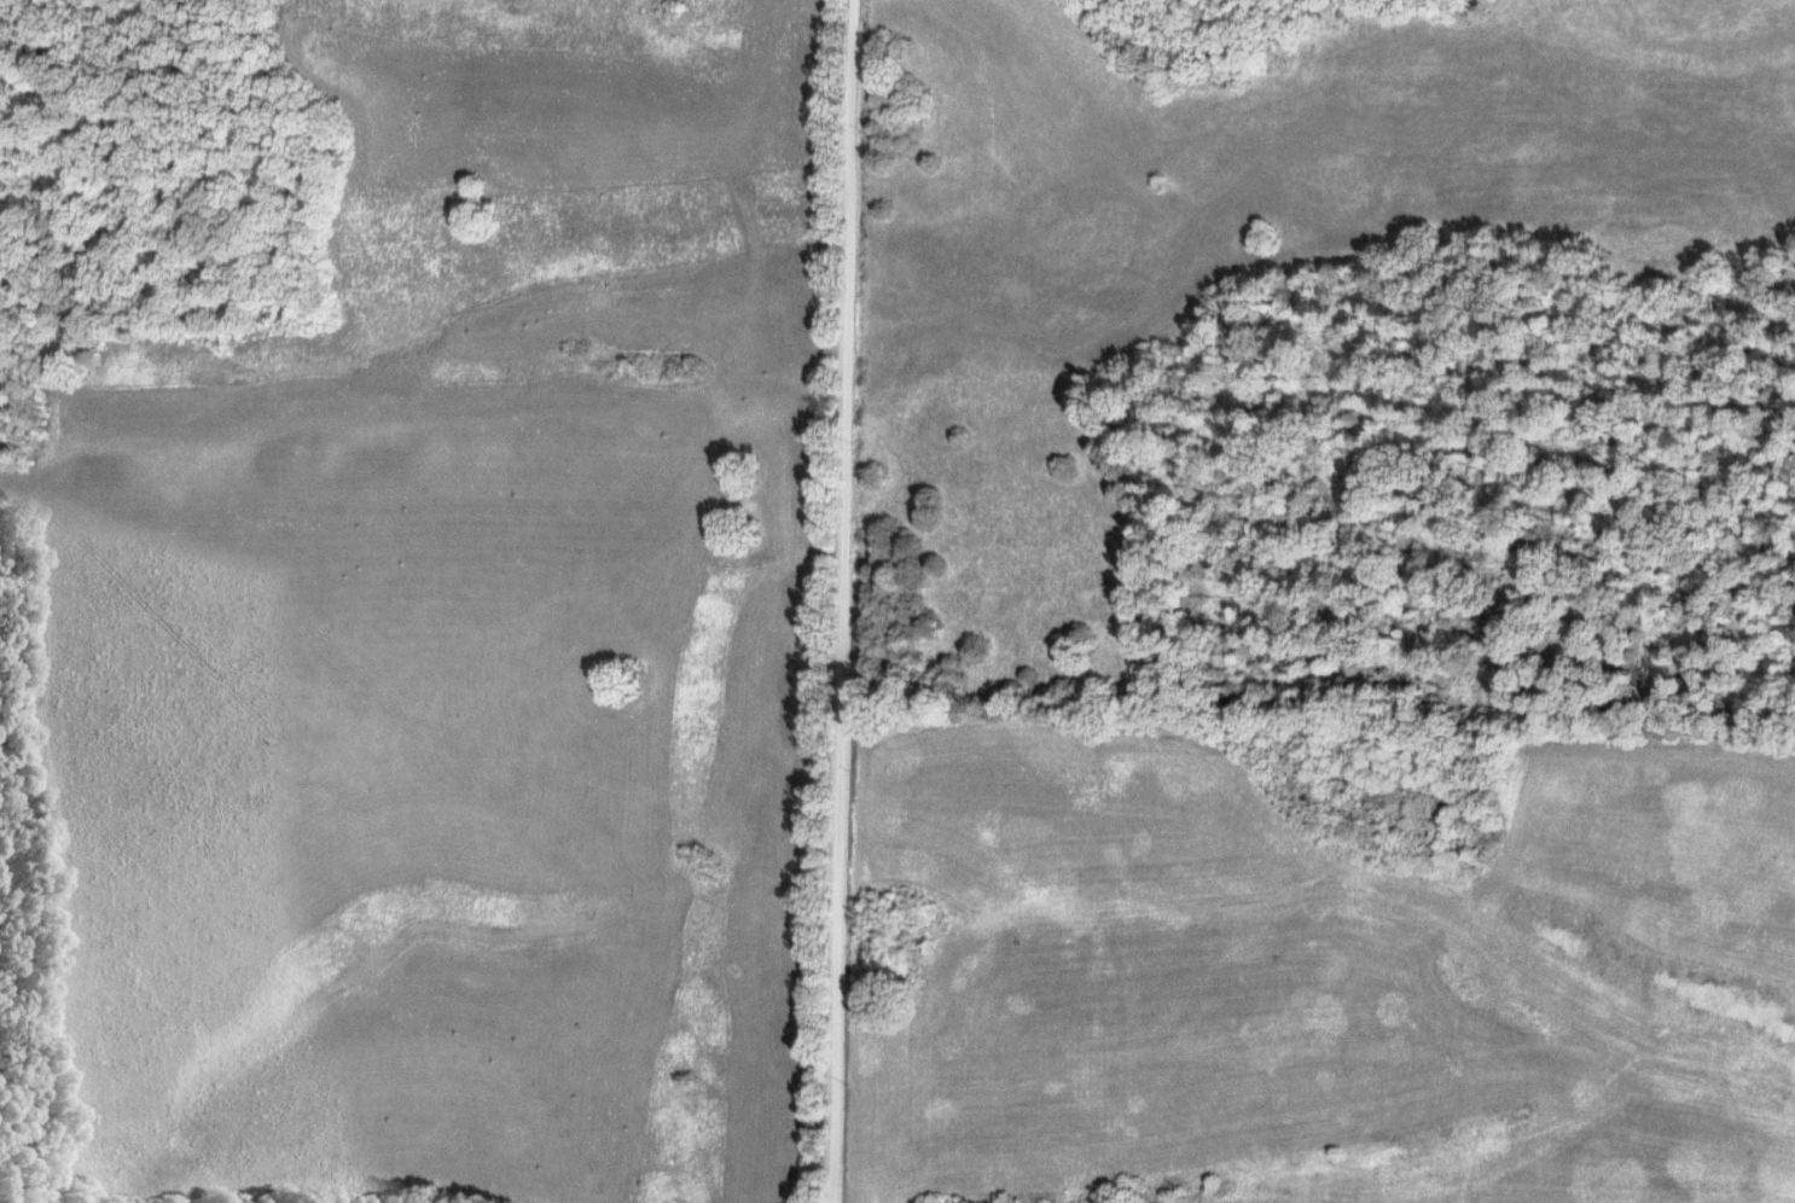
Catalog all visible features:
road: (846, 601)

